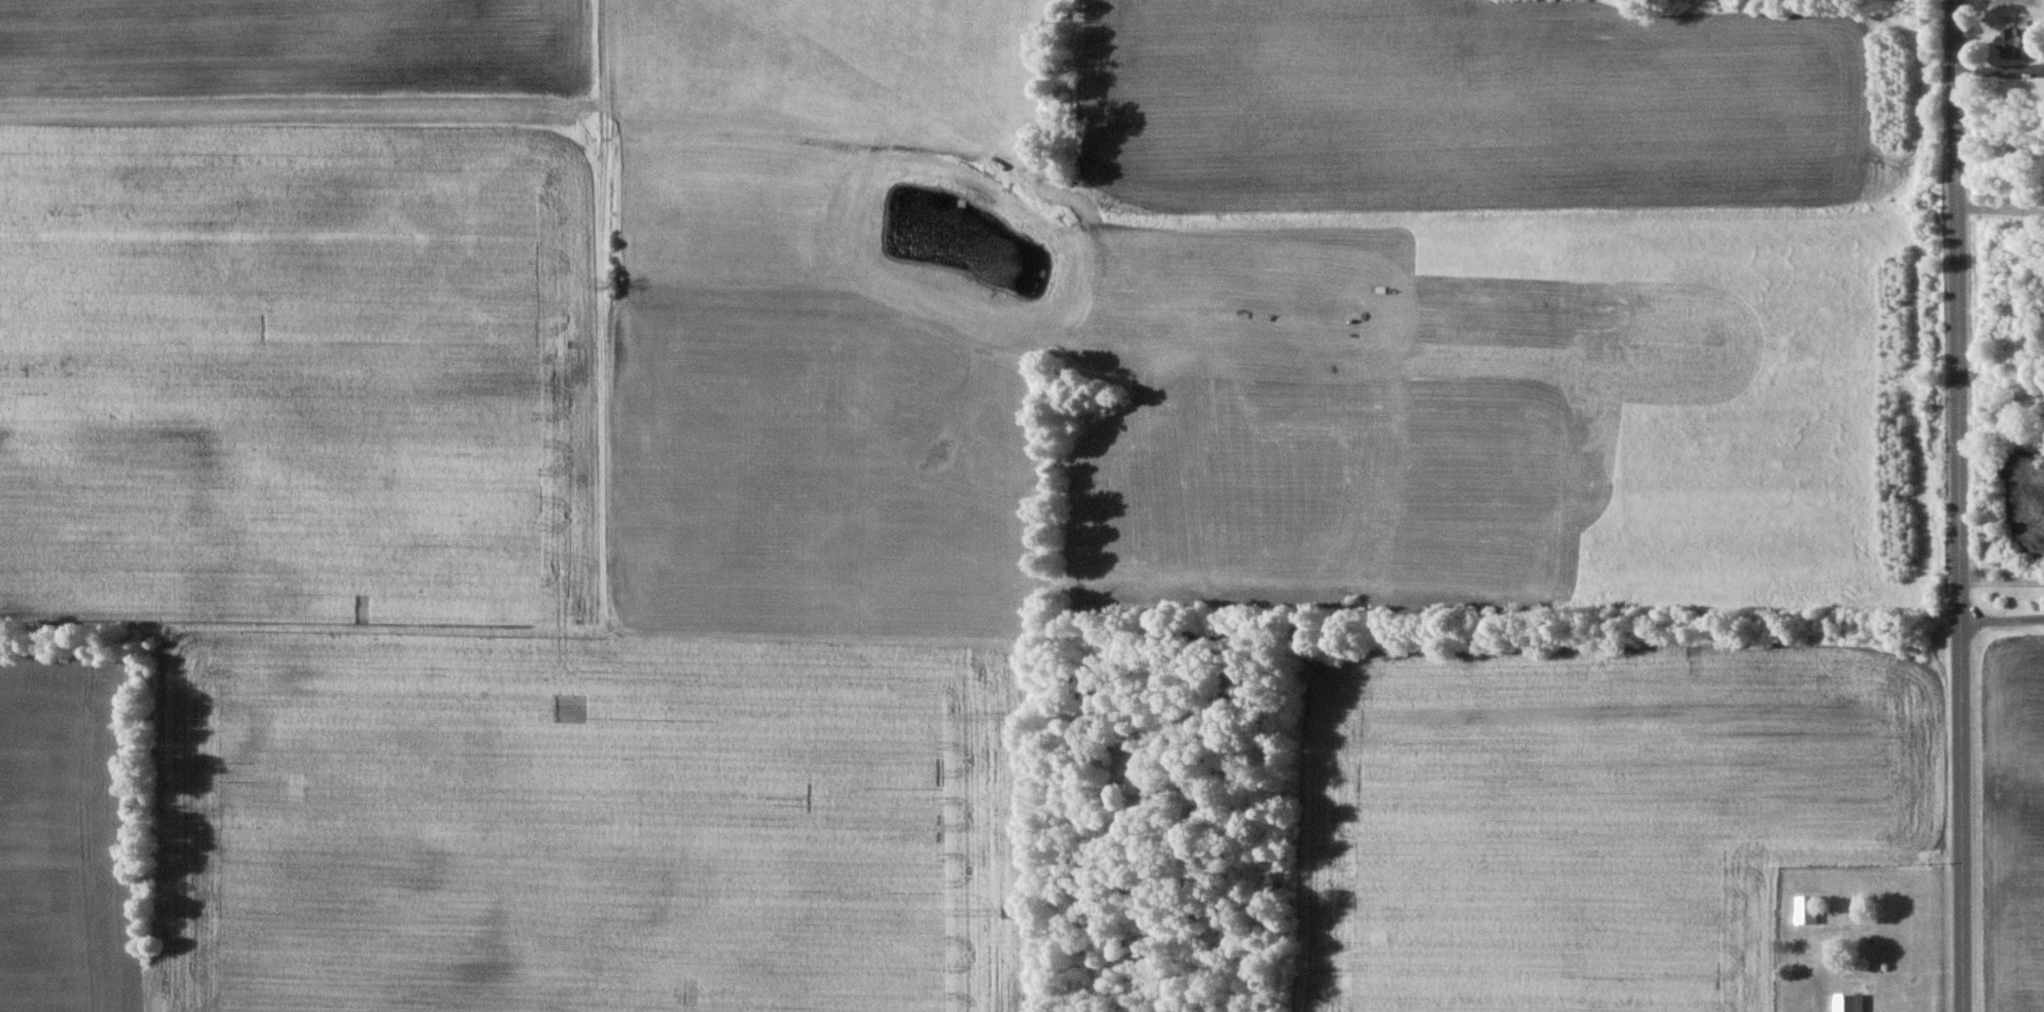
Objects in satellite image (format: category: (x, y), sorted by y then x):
building: (2015, 41)
road: (1997, 72)
road: (1997, 211)
road: (1954, 505)
road: (1999, 585)
road: (2000, 629)
building: (1810, 909)
building: (1852, 1003)

